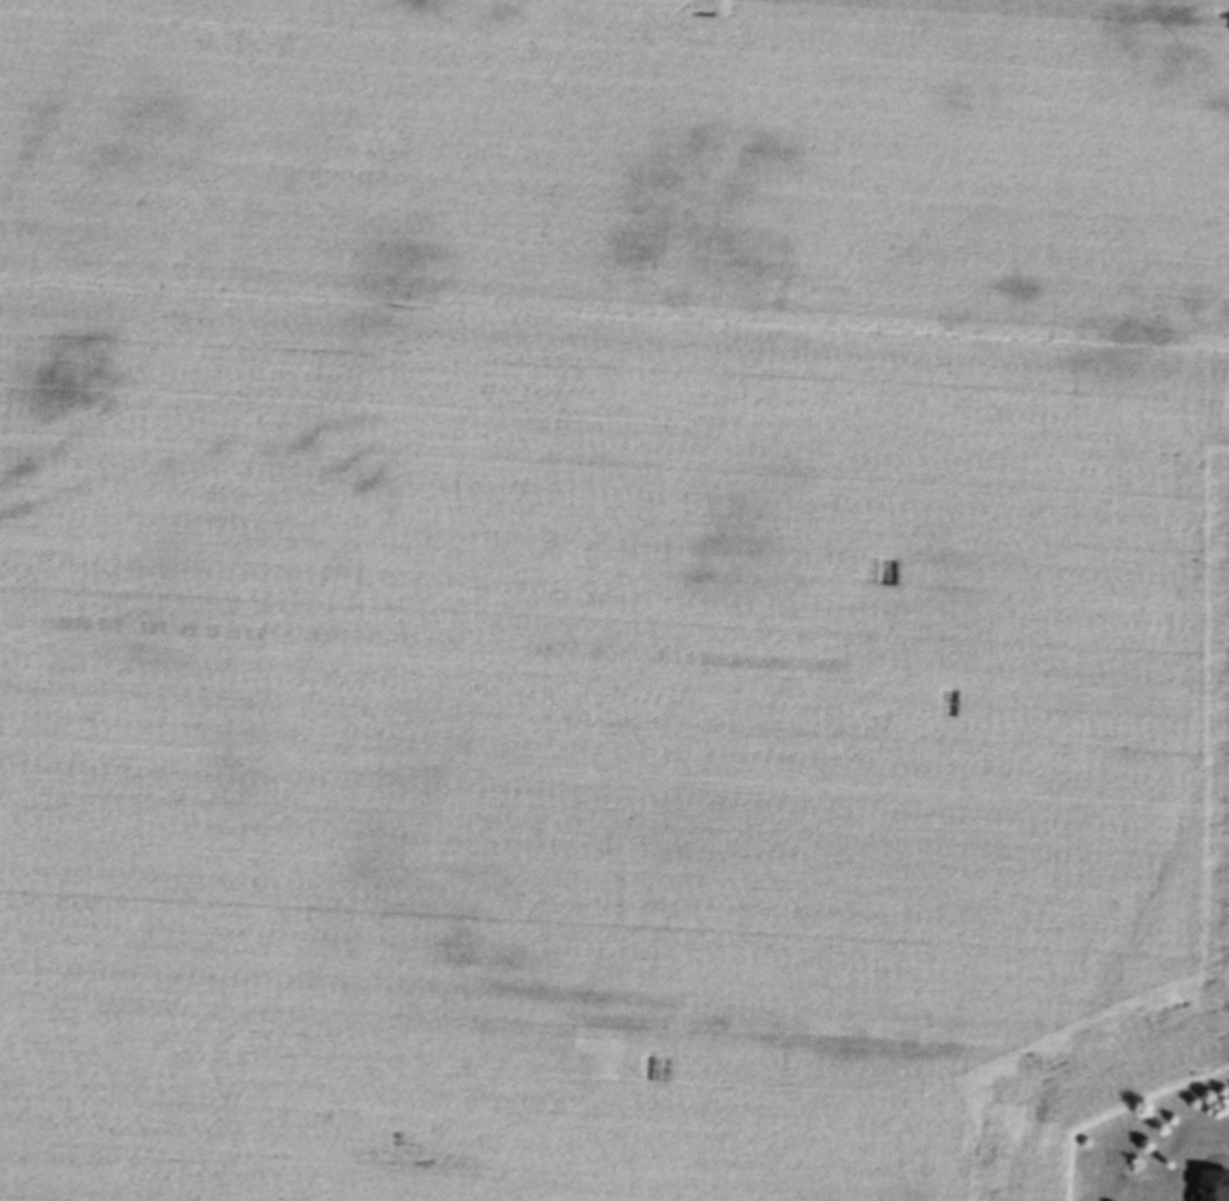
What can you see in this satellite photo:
building: (1210, 1188)

